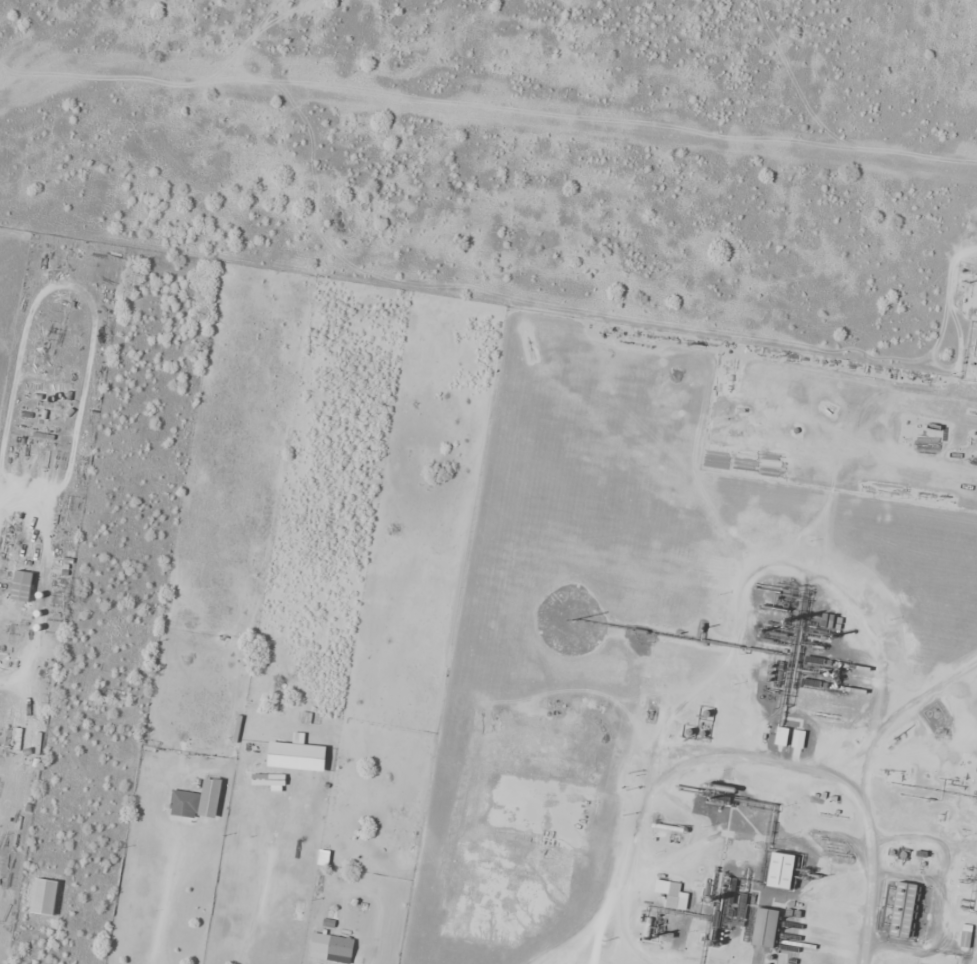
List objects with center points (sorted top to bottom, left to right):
building: (22, 586)
building: (782, 736)
building: (268, 779)
building: (210, 797)
building: (184, 804)
building: (781, 870)
building: (671, 894)
building: (908, 908)
building: (299, 911)
building: (765, 928)
building: (340, 949)

